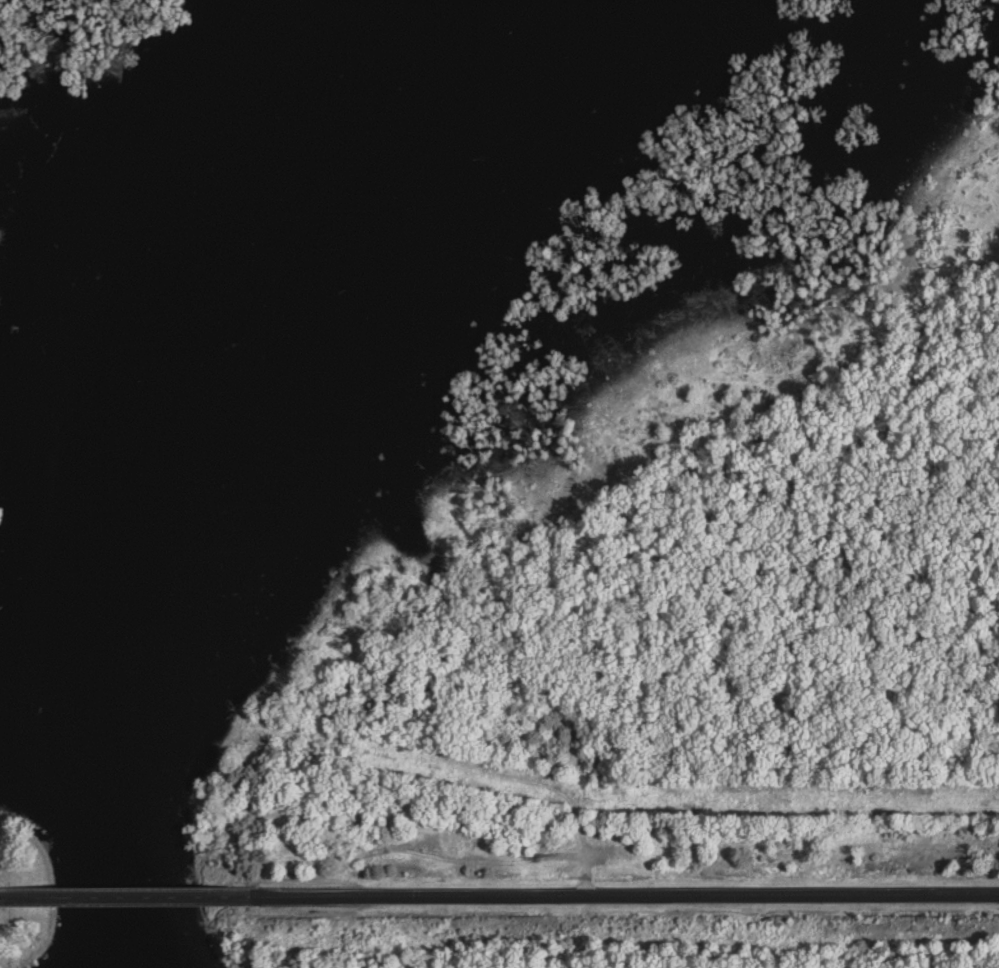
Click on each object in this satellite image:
road: (52, 880)
road: (126, 894)
road: (626, 898)

